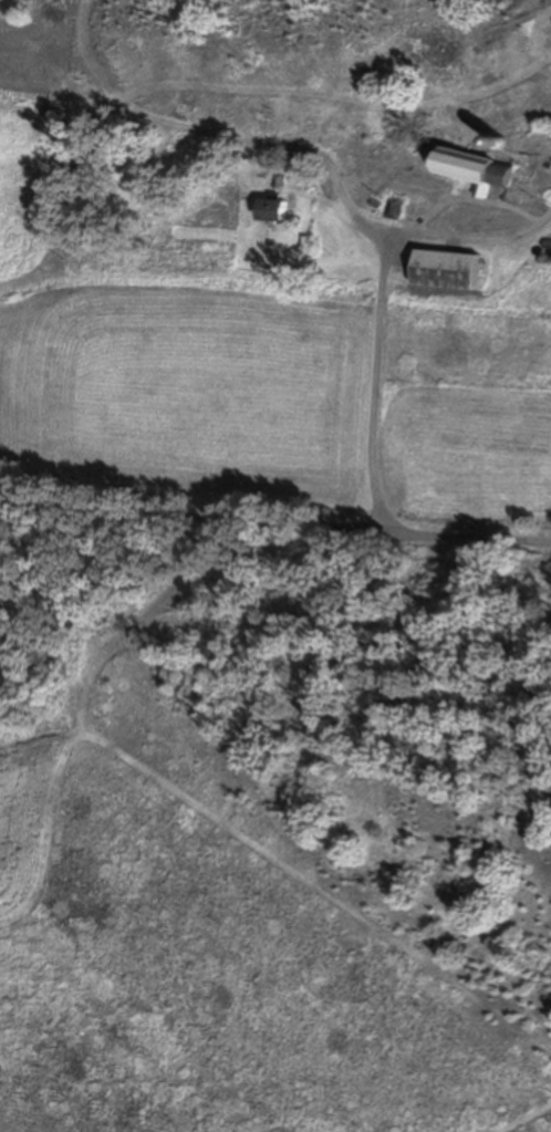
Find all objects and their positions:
building: (469, 169)
building: (392, 207)
building: (270, 210)
building: (444, 270)
road: (376, 387)
road: (195, 516)
road: (471, 537)

